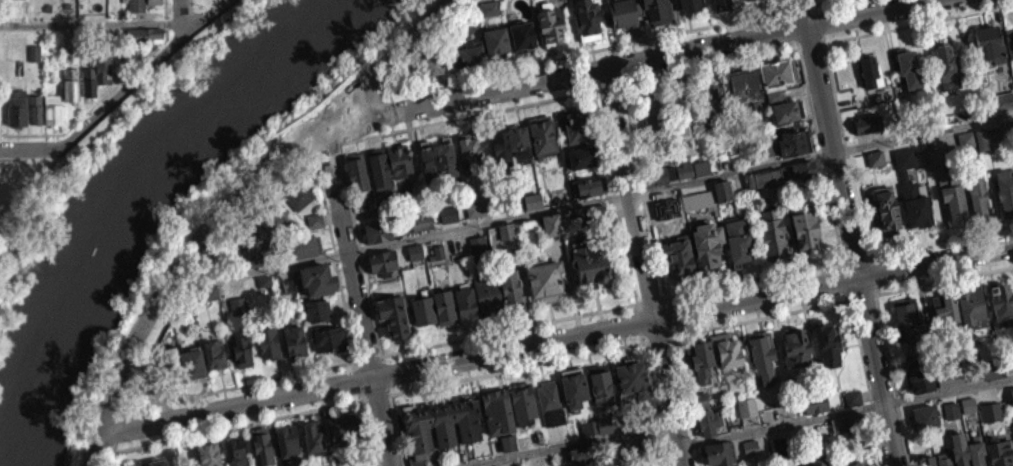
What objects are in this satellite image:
building: (515, 0)
building: (154, 1)
road: (818, 2)
building: (723, 3)
building: (751, 3)
building: (692, 4)
building: (137, 5)
building: (490, 6)
road: (799, 6)
road: (815, 6)
road: (784, 7)
road: (187, 10)
building: (660, 10)
building: (623, 12)
road: (438, 13)
road: (180, 15)
road: (205, 15)
building: (487, 16)
building: (589, 18)
building: (552, 20)
road: (819, 22)
road: (916, 22)
road: (90, 23)
building: (468, 24)
road: (791, 27)
building: (148, 33)
building: (523, 33)
road: (823, 37)
building: (497, 38)
building: (1009, 41)
building: (142, 42)
road: (811, 43)
building: (989, 43)
road: (585, 50)
building: (470, 51)
building: (32, 60)
road: (626, 61)
road: (410, 63)
building: (431, 63)
building: (104, 64)
building: (947, 65)
building: (909, 68)
building: (869, 70)
building: (429, 73)
building: (776, 73)
building: (89, 80)
building: (70, 82)
building: (744, 84)
road: (123, 90)
road: (105, 93)
building: (774, 95)
road: (809, 96)
building: (1002, 100)
building: (712, 102)
building: (35, 107)
building: (53, 108)
building: (785, 110)
building: (653, 112)
building: (678, 113)
building: (15, 115)
building: (868, 122)
building: (580, 123)
building: (866, 131)
building: (544, 132)
road: (370, 135)
building: (990, 135)
building: (521, 139)
building: (791, 139)
building: (966, 139)
building: (502, 145)
building: (765, 146)
building: (983, 146)
building: (470, 147)
building: (965, 147)
road: (30, 148)
road: (846, 148)
building: (584, 154)
building: (941, 156)
building: (876, 157)
building: (400, 158)
building: (439, 158)
building: (580, 165)
building: (933, 165)
building: (700, 166)
building: (875, 166)
building: (380, 167)
building: (803, 168)
building: (903, 169)
building: (786, 171)
building: (358, 172)
building: (649, 174)
building: (764, 177)
building: (674, 179)
building: (589, 184)
building: (722, 190)
road: (644, 191)
building: (1005, 191)
building: (977, 193)
building: (300, 194)
building: (587, 194)
building: (953, 197)
building: (720, 198)
building: (534, 199)
road: (617, 199)
building: (699, 199)
river: (111, 200)
road: (590, 201)
building: (510, 202)
road: (831, 206)
building: (478, 207)
building: (696, 207)
building: (531, 208)
building: (887, 208)
park: (27, 212)
building: (449, 213)
building: (914, 213)
building: (591, 215)
building: (277, 216)
building: (475, 216)
building: (316, 218)
building: (418, 221)
building: (447, 222)
building: (552, 222)
building: (802, 222)
building: (313, 228)
building: (507, 229)
building: (379, 230)
building: (772, 230)
building: (550, 232)
road: (849, 232)
building: (255, 236)
building: (375, 239)
building: (505, 239)
road: (358, 240)
building: (738, 240)
building: (479, 242)
road: (938, 243)
building: (304, 245)
building: (707, 245)
building: (279, 247)
building: (416, 250)
building: (440, 250)
building: (477, 251)
building: (678, 256)
road: (855, 256)
road: (334, 258)
building: (255, 259)
building: (413, 259)
building: (383, 260)
building: (437, 260)
road: (645, 266)
building: (588, 268)
building: (319, 276)
road: (754, 277)
building: (546, 279)
road: (942, 279)
building: (264, 280)
building: (511, 283)
building: (289, 284)
building: (262, 290)
building: (211, 291)
road: (356, 292)
building: (287, 293)
building: (489, 293)
road: (862, 295)
road: (650, 299)
building: (209, 300)
building: (466, 301)
building: (1002, 303)
building: (238, 304)
building: (971, 304)
building: (444, 306)
building: (945, 307)
building: (319, 308)
building: (423, 309)
building: (236, 312)
building: (393, 314)
road: (670, 314)
building: (188, 316)
road: (760, 316)
building: (316, 318)
building: (909, 319)
road: (640, 322)
road: (509, 328)
road: (134, 335)
building: (329, 337)
road: (659, 338)
building: (295, 340)
road: (556, 340)
building: (269, 341)
building: (827, 342)
building: (795, 346)
building: (242, 349)
building: (728, 352)
building: (215, 353)
building: (762, 354)
road: (369, 356)
building: (701, 361)
building: (171, 362)
building: (193, 362)
road: (518, 367)
building: (992, 369)
building: (918, 372)
road: (385, 373)
building: (634, 375)
building: (990, 377)
road: (360, 378)
building: (950, 378)
road: (892, 379)
road: (867, 382)
road: (243, 383)
road: (150, 385)
building: (602, 385)
building: (575, 387)
building: (948, 387)
road: (377, 396)
building: (853, 396)
road: (686, 398)
building: (700, 398)
road: (658, 399)
building: (551, 402)
building: (814, 402)
building: (523, 403)
building: (1010, 403)
building: (850, 405)
building: (747, 406)
road: (846, 410)
building: (991, 410)
building: (498, 411)
building: (813, 411)
building: (966, 412)
building: (745, 414)
building: (926, 416)
building: (989, 419)
building: (708, 420)
building: (848, 421)
building: (605, 423)
road: (241, 424)
road: (396, 425)
building: (588, 425)
building: (347, 426)
building: (442, 426)
road: (371, 428)
building: (603, 432)
building: (844, 432)
building: (314, 437)
building: (288, 440)
building: (262, 441)
building: (509, 441)
road: (566, 444)
building: (751, 446)
building: (236, 450)
building: (506, 450)
building: (976, 450)
building: (999, 451)
building: (210, 452)
building: (579, 452)
building: (719, 452)
building: (749, 454)
building: (960, 455)
building: (944, 459)
building: (576, 460)
building: (815, 460)
building: (925, 460)
building: (152, 462)
building: (852, 462)
building: (953, 465)

